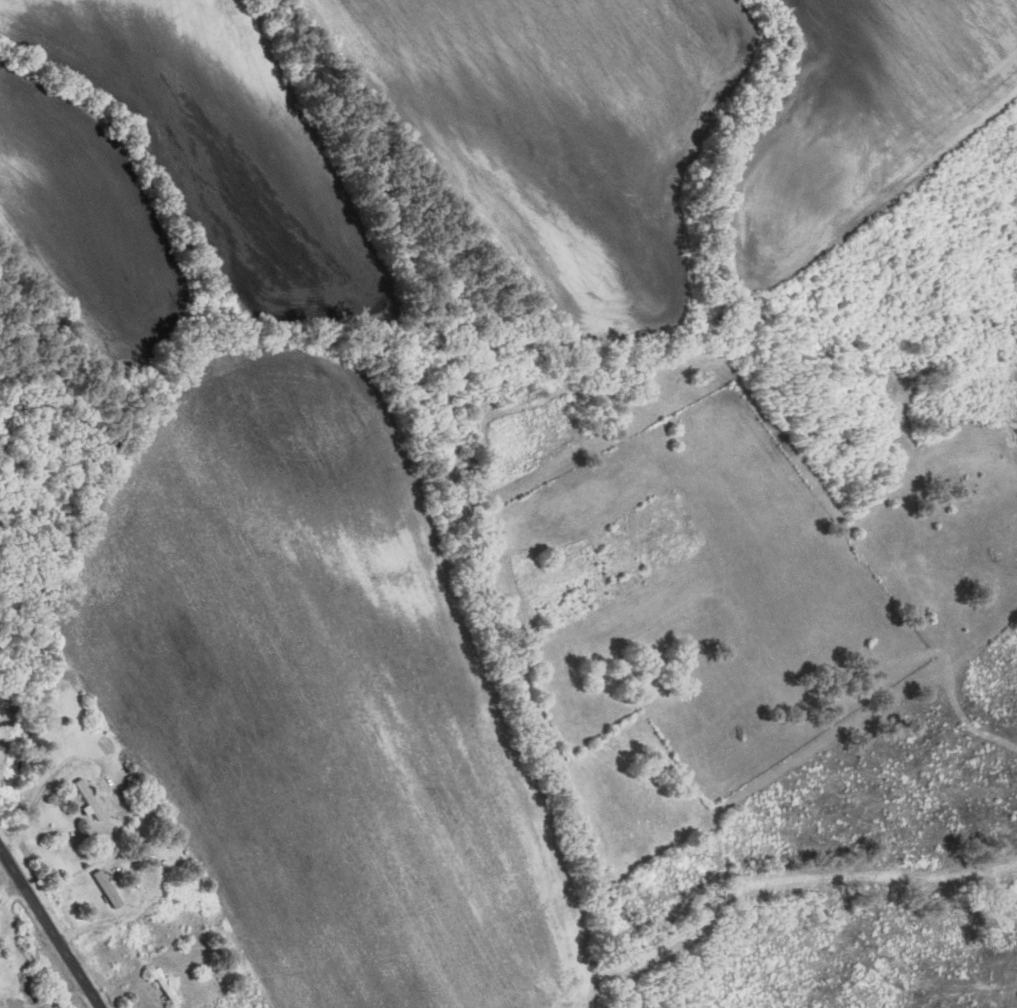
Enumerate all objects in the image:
building: (1, 748)
building: (109, 890)
road: (50, 927)
building: (137, 939)
building: (168, 987)
building: (3, 1007)

